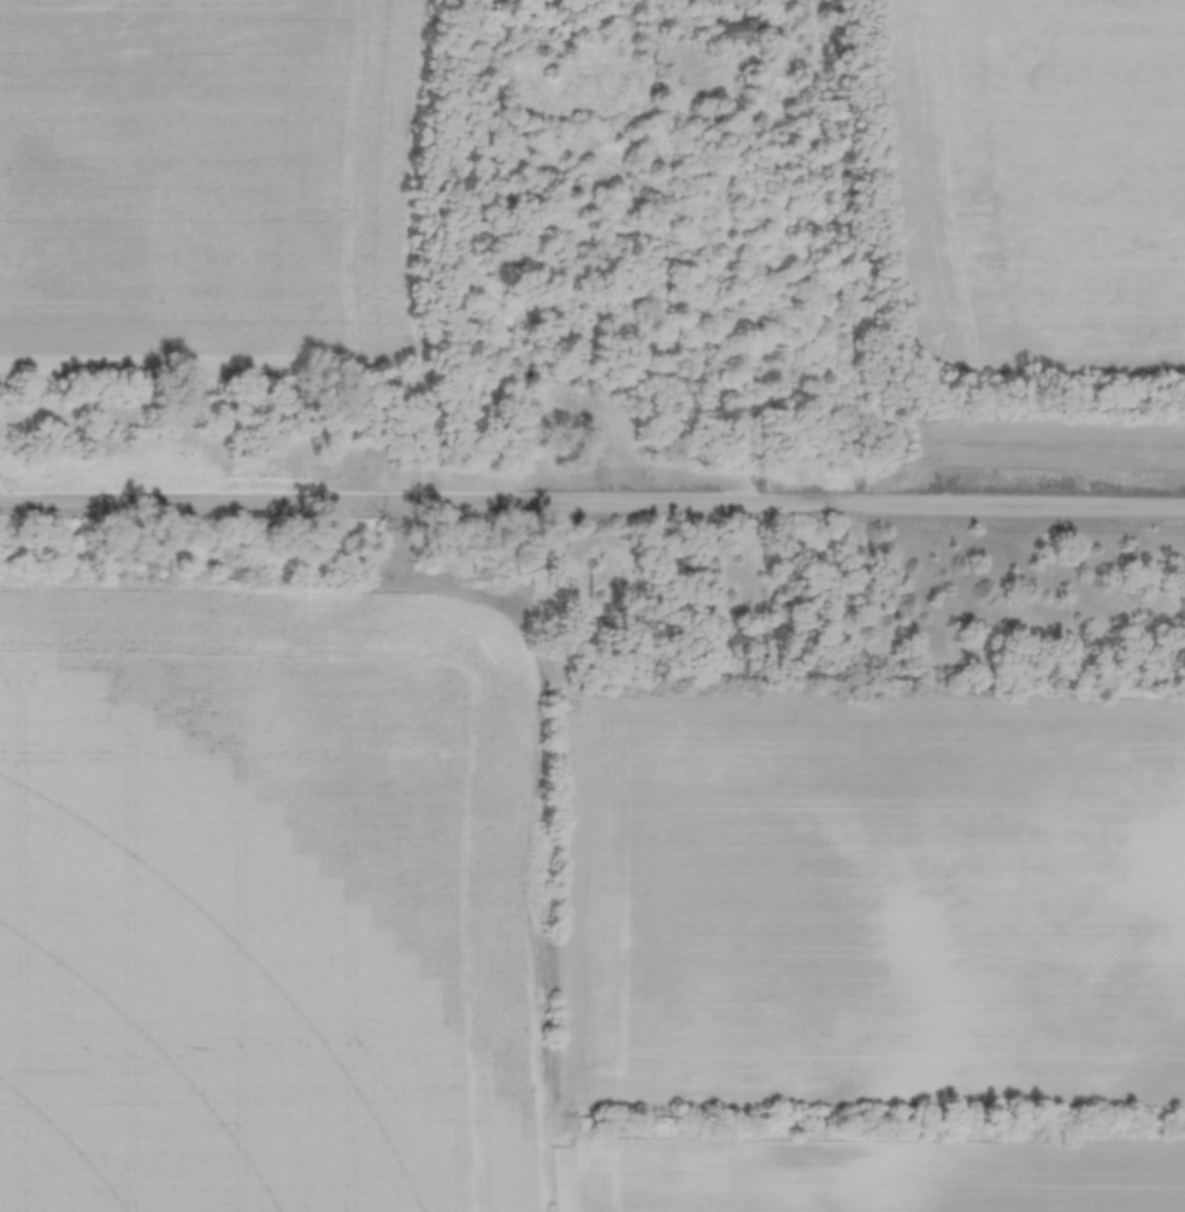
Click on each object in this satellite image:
road: (592, 513)

